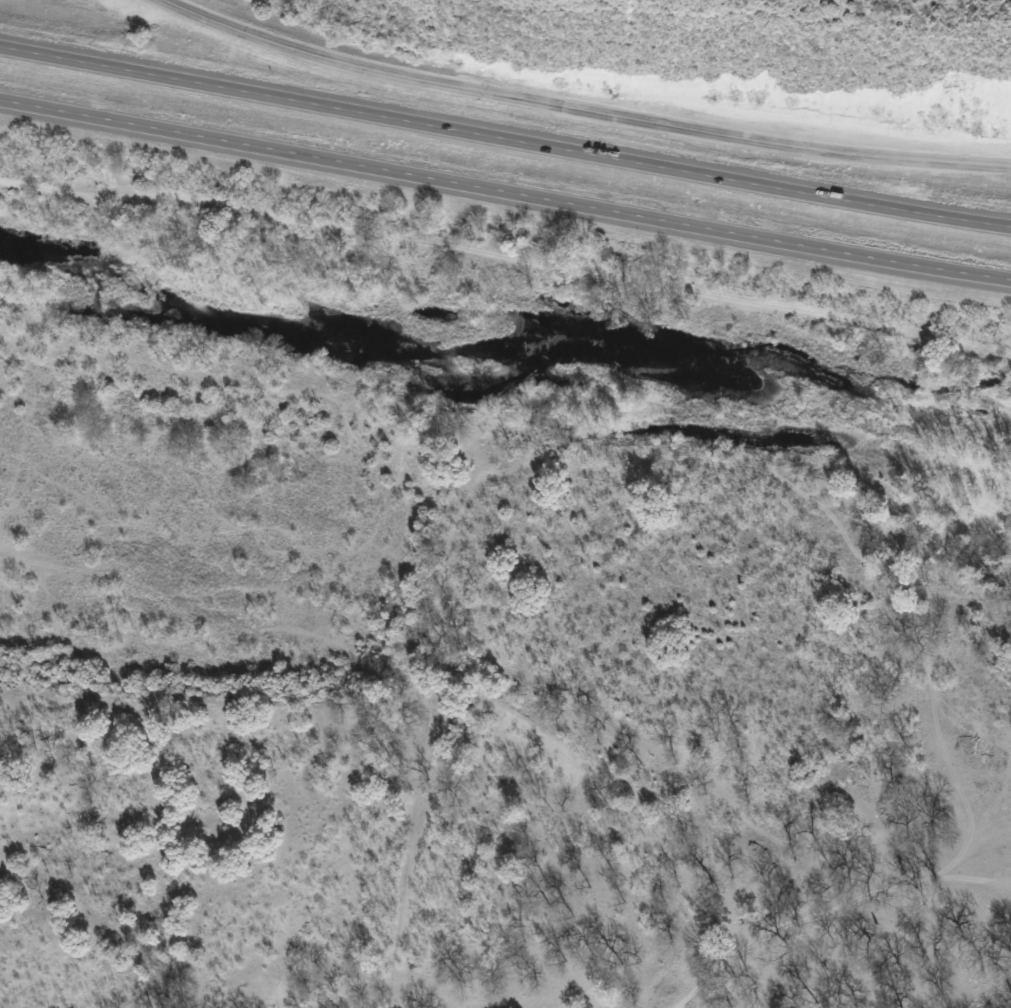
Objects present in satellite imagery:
road: (585, 106)
road: (503, 141)
road: (505, 195)
river: (501, 345)

